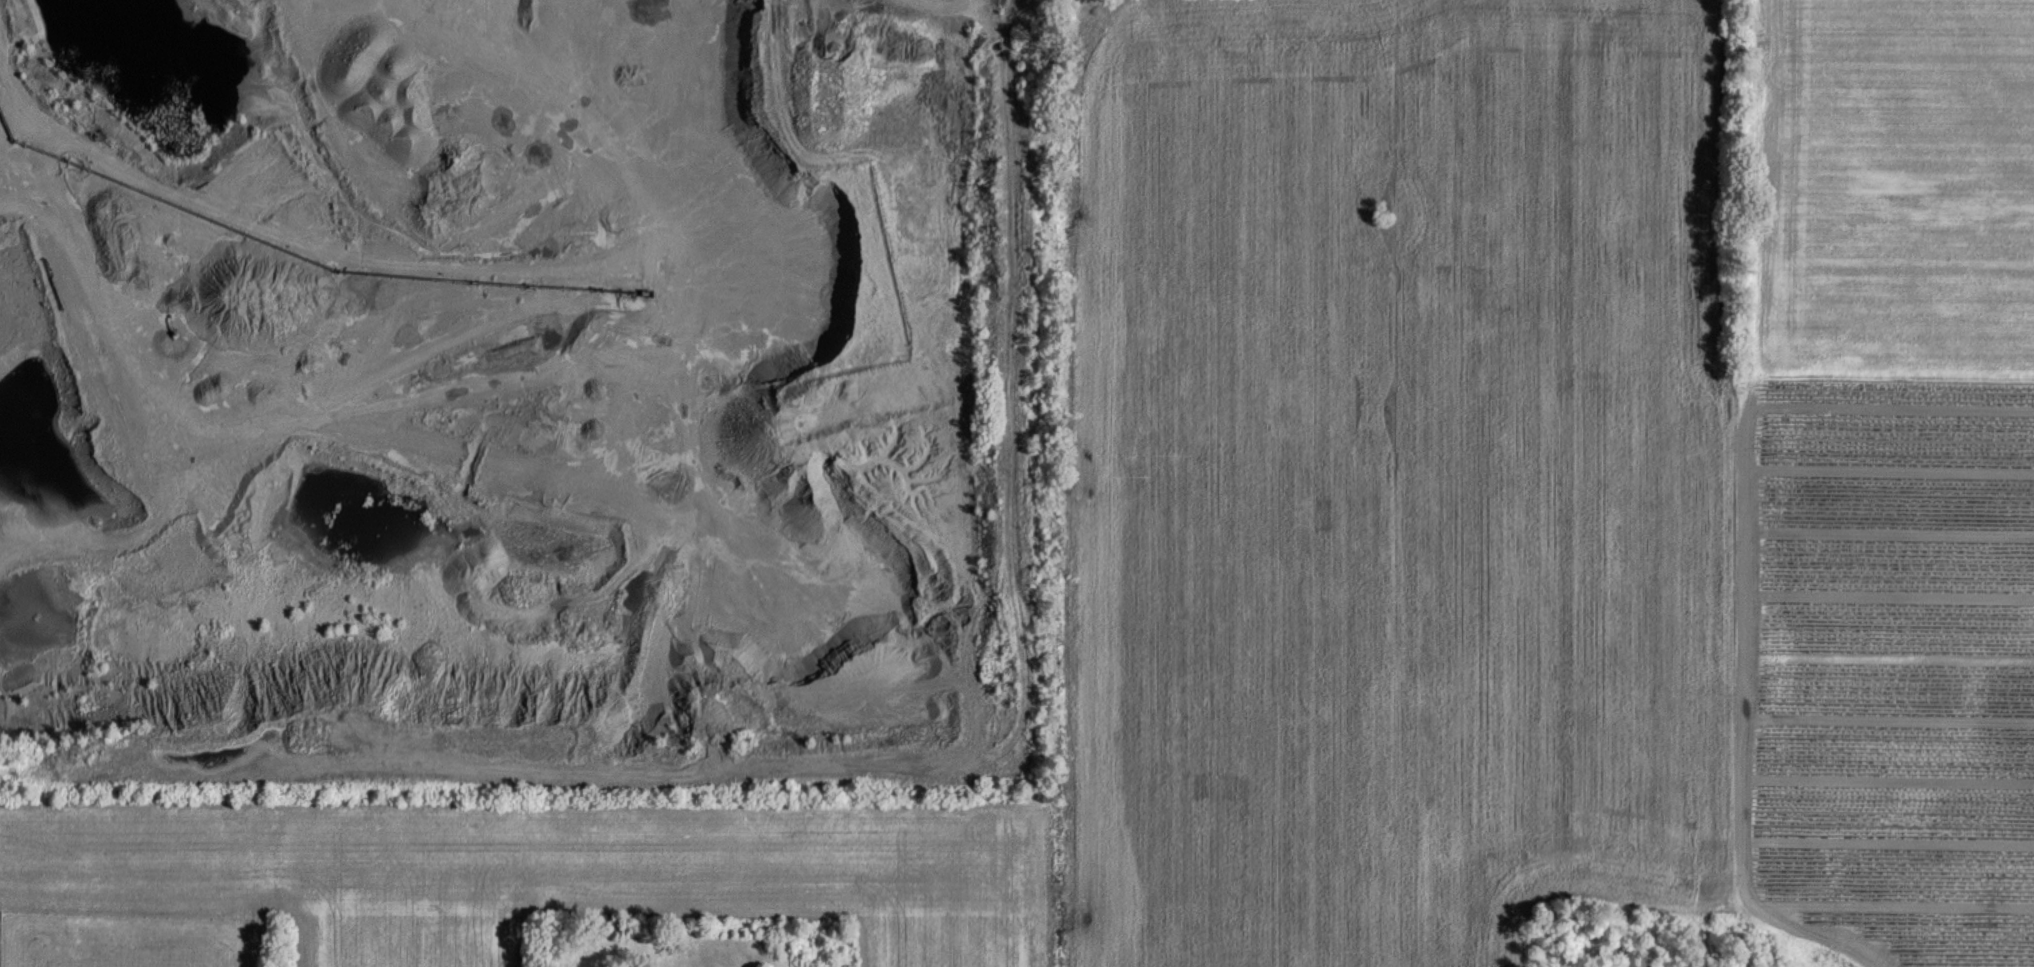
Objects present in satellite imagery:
quarry: (520, 395)

